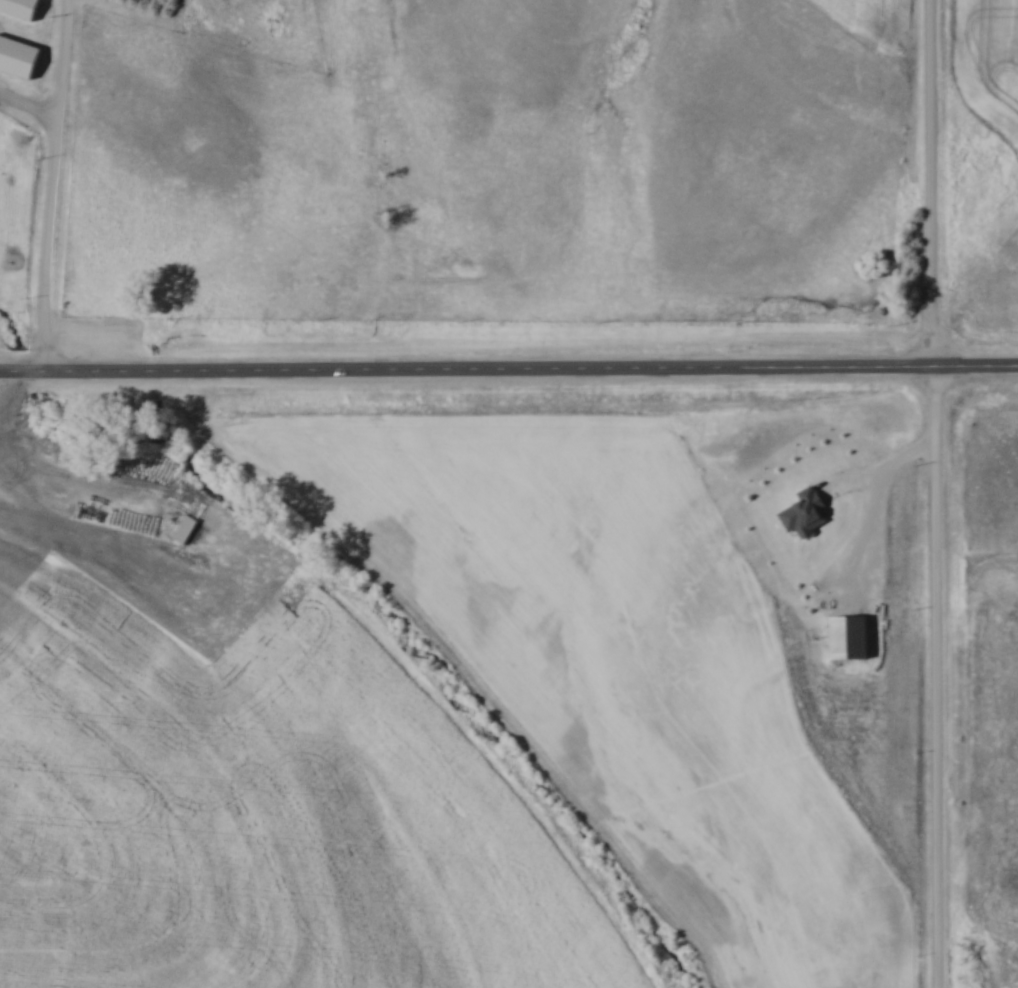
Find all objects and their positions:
road: (58, 183)
road: (509, 365)
road: (939, 493)
road: (876, 499)

